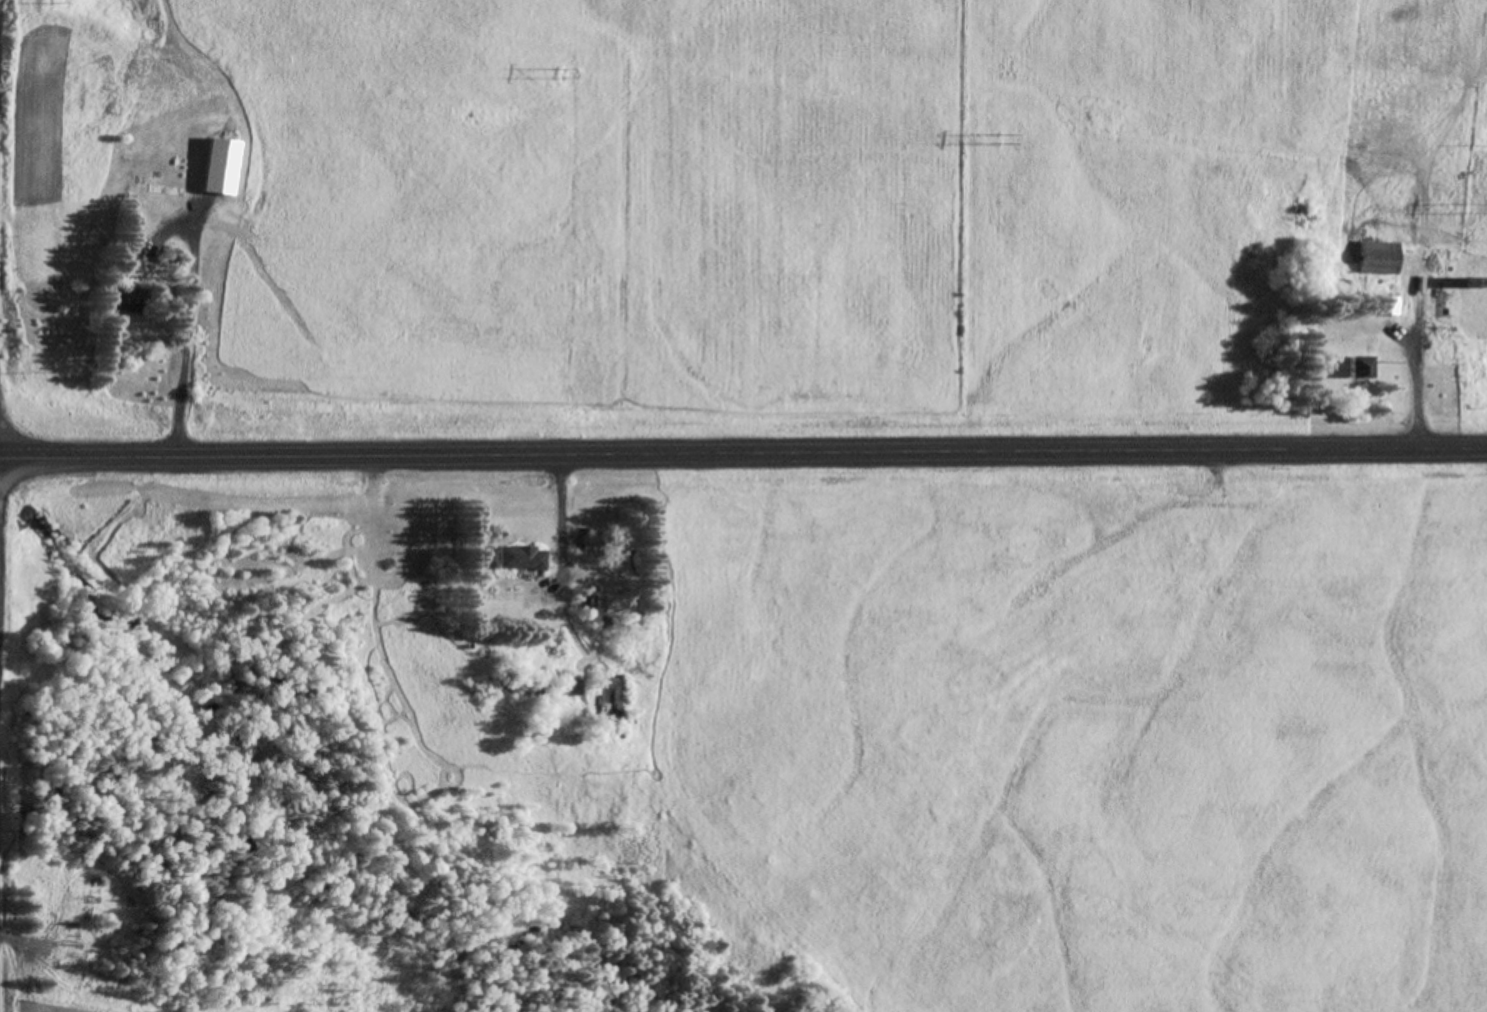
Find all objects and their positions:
power tower: (555, 65)
building: (155, 117)
power tower: (956, 130)
building: (199, 182)
power tower: (1466, 209)
crop: (778, 210)
building: (1373, 258)
building: (125, 264)
building: (124, 300)
building: (1383, 306)
building: (1354, 367)
road: (743, 452)
building: (517, 559)
building: (583, 603)
building: (568, 687)
building: (1477, 966)

